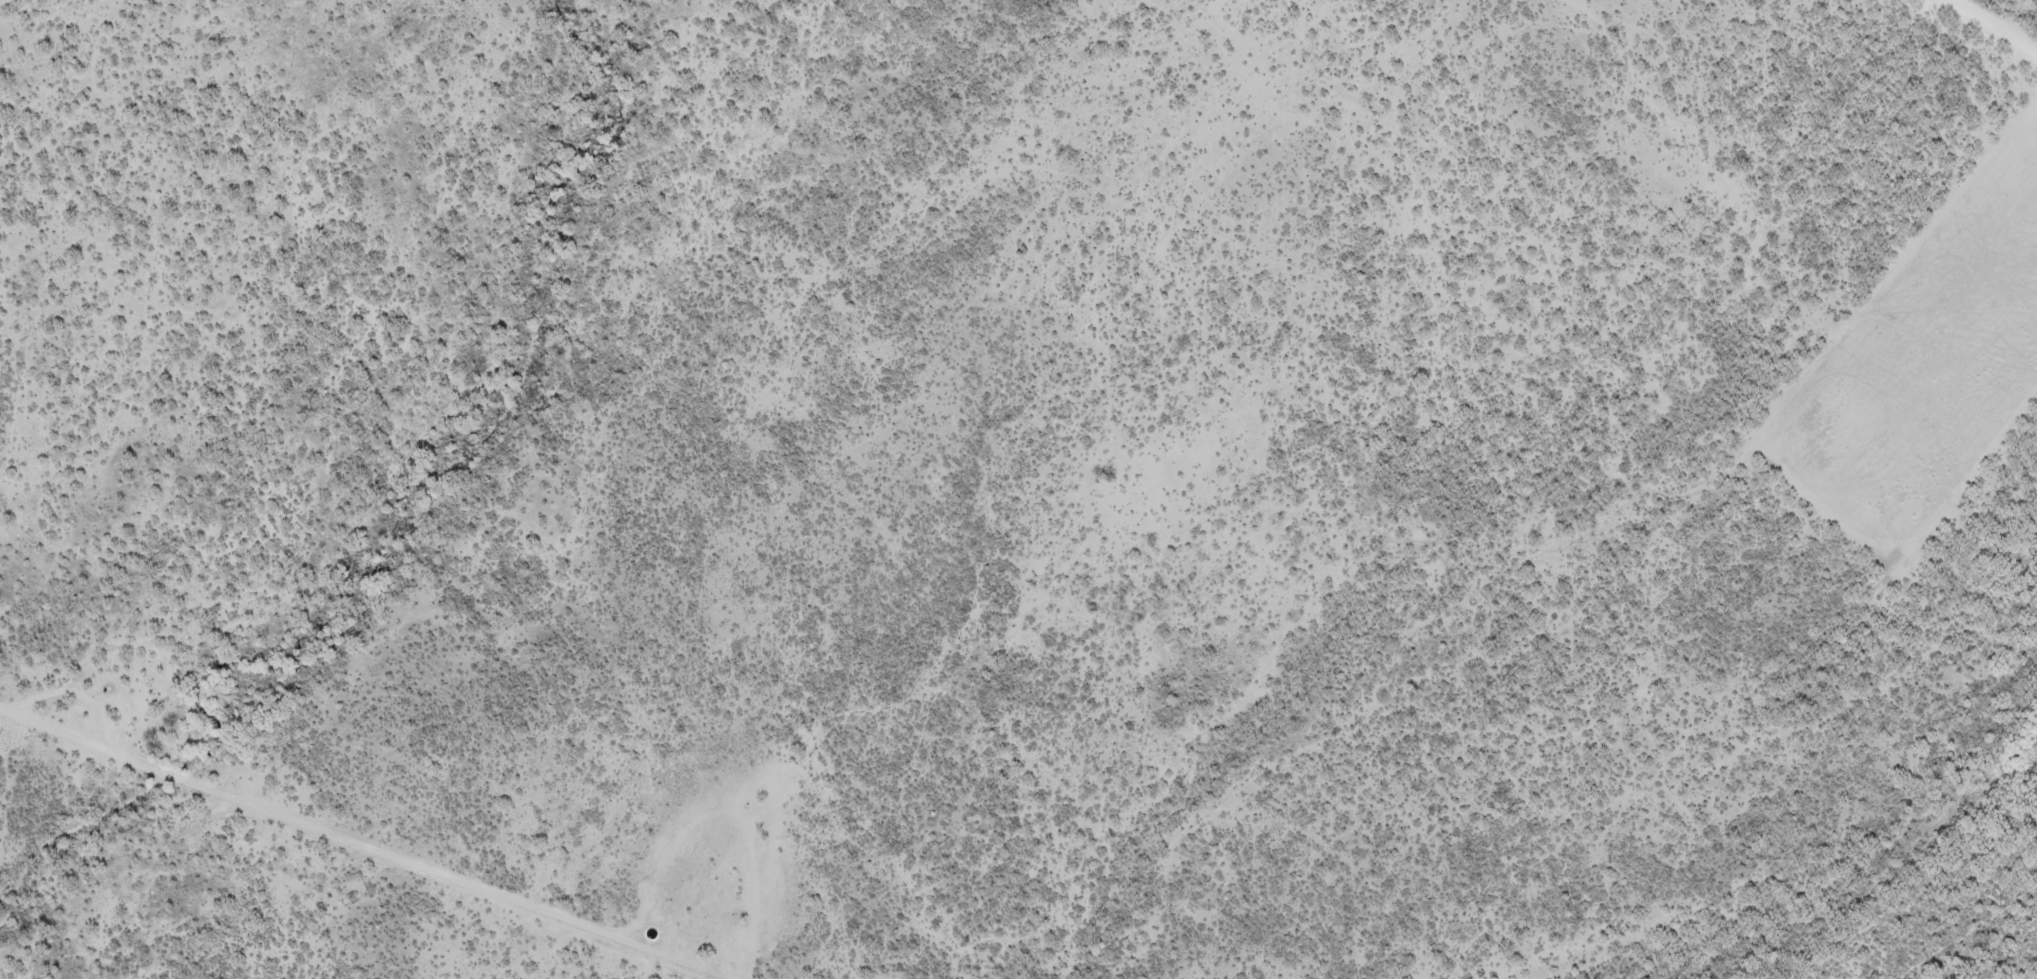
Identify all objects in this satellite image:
road: (1988, 22)

